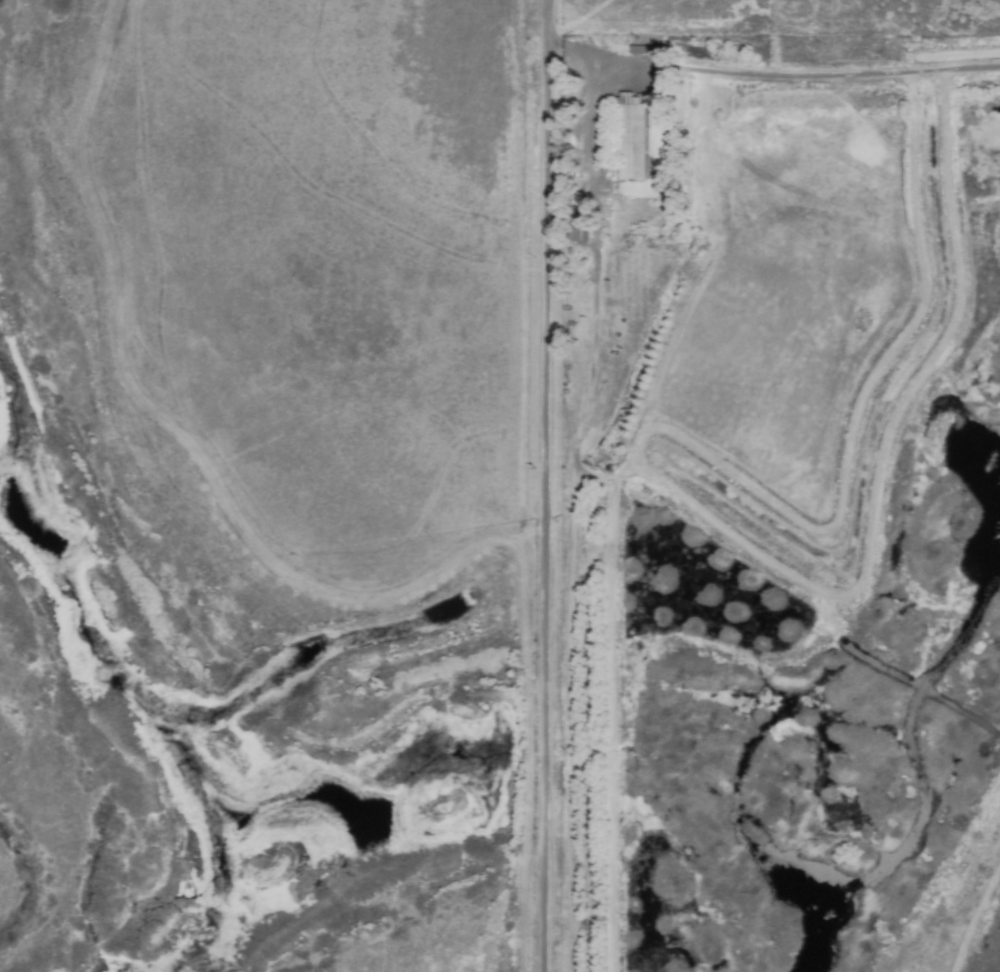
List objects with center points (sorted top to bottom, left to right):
road: (547, 12)
road: (721, 73)
building: (628, 144)
building: (624, 216)
road: (595, 261)
road: (543, 498)
road: (572, 717)

